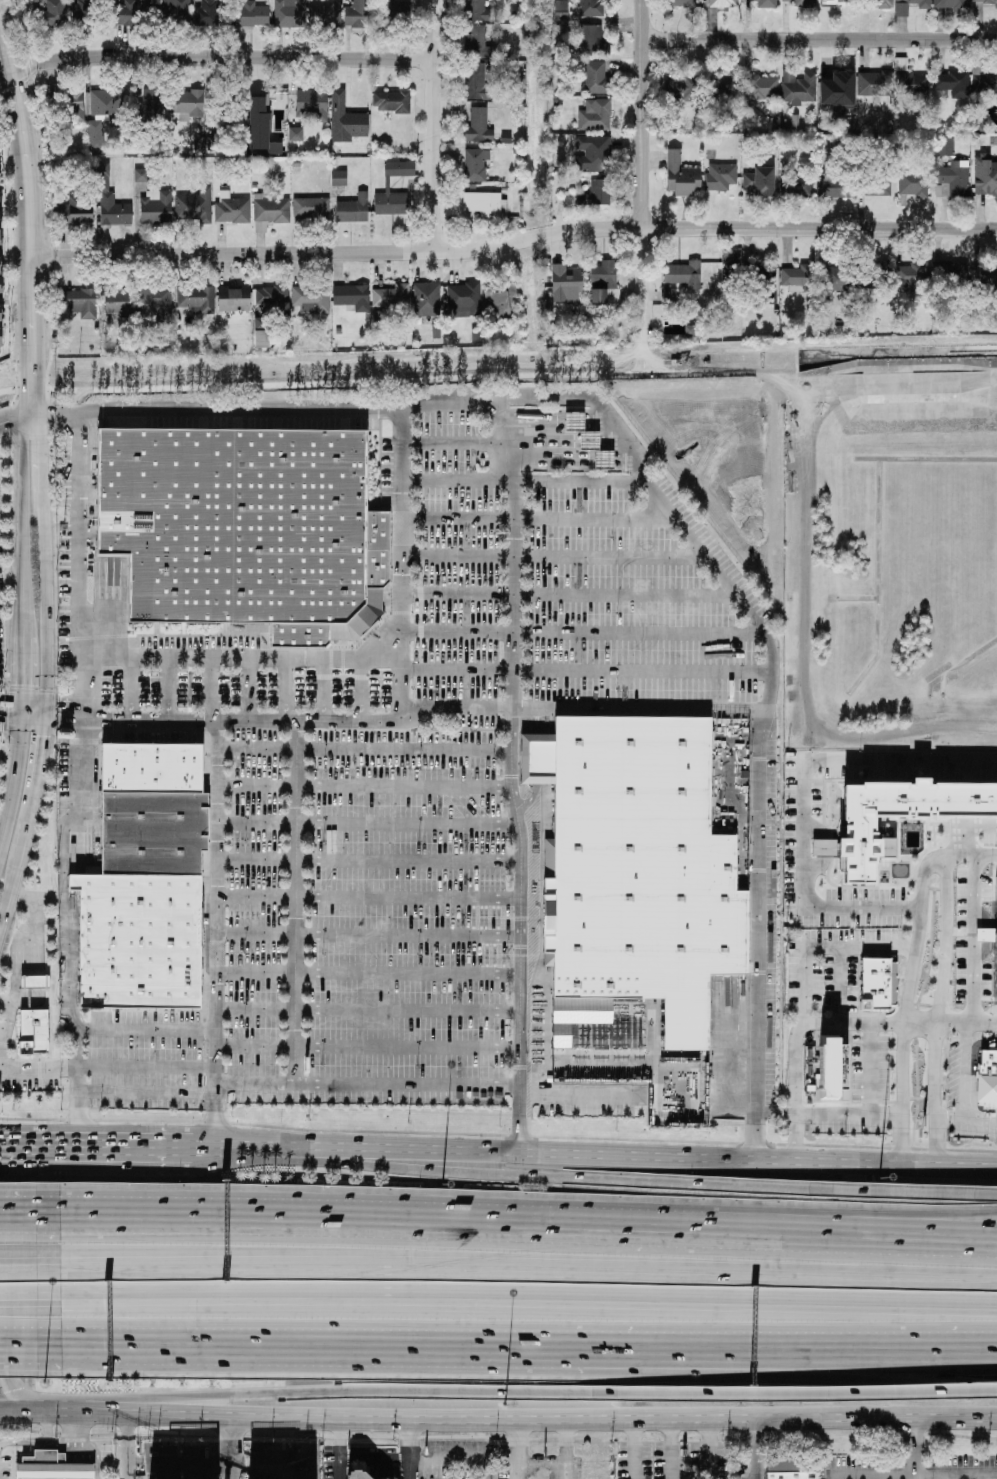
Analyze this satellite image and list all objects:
building: (30, 1)
building: (833, 1)
building: (984, 1)
building: (683, 3)
building: (798, 3)
building: (725, 4)
building: (765, 4)
building: (879, 4)
building: (949, 4)
building: (909, 5)
building: (590, 8)
building: (474, 10)
building: (561, 10)
building: (84, 11)
building: (175, 11)
building: (52, 13)
building: (133, 13)
building: (207, 13)
building: (285, 13)
building: (391, 13)
building: (251, 14)
building: (327, 14)
building: (356, 14)
road: (821, 39)
building: (591, 41)
building: (477, 42)
road: (215, 58)
building: (594, 77)
building: (908, 80)
building: (983, 80)
building: (475, 81)
building: (874, 83)
building: (835, 84)
building: (951, 84)
building: (761, 87)
building: (798, 87)
building: (681, 88)
building: (723, 89)
building: (105, 102)
building: (392, 102)
building: (151, 103)
building: (185, 104)
building: (268, 105)
building: (311, 106)
building: (74, 107)
building: (595, 116)
building: (345, 117)
road: (434, 126)
building: (477, 126)
building: (260, 129)
building: (295, 135)
building: (96, 136)
building: (198, 144)
building: (945, 147)
building: (592, 153)
building: (474, 165)
building: (399, 169)
road: (644, 170)
building: (681, 176)
building: (141, 177)
building: (720, 177)
building: (985, 177)
building: (338, 178)
building: (952, 179)
building: (759, 181)
building: (104, 184)
building: (877, 184)
building: (836, 185)
building: (913, 185)
building: (796, 186)
building: (595, 193)
road: (27, 197)
building: (388, 203)
building: (484, 204)
building: (155, 207)
building: (194, 207)
building: (230, 208)
building: (311, 208)
building: (353, 209)
building: (270, 213)
building: (74, 214)
road: (515, 244)
building: (952, 271)
building: (682, 274)
building: (719, 275)
building: (984, 275)
building: (758, 276)
building: (798, 276)
building: (875, 276)
building: (909, 278)
building: (836, 279)
building: (564, 282)
building: (604, 283)
building: (0, 287)
building: (668, 295)
building: (352, 297)
building: (391, 297)
building: (233, 299)
building: (311, 299)
building: (426, 299)
building: (463, 299)
building: (196, 300)
building: (272, 300)
building: (117, 302)
building: (80, 303)
building: (156, 303)
building: (500, 305)
building: (261, 339)
road: (36, 378)
road: (275, 410)
road: (18, 423)
building: (589, 441)
road: (457, 443)
road: (457, 481)
road: (582, 481)
road: (542, 519)
building: (244, 534)
road: (39, 555)
road: (556, 556)
road: (403, 561)
road: (78, 564)
road: (571, 595)
parking lot: (1, 627)
road: (584, 633)
road: (243, 658)
road: (588, 671)
road: (130, 685)
road: (171, 686)
road: (213, 686)
road: (249, 686)
road: (286, 687)
road: (323, 688)
road: (361, 688)
road: (637, 704)
road: (17, 708)
road: (762, 712)
road: (273, 715)
road: (359, 749)
road: (37, 760)
building: (153, 768)
road: (510, 773)
road: (14, 774)
road: (363, 786)
road: (803, 801)
building: (897, 818)
road: (365, 822)
parking lot: (373, 822)
road: (964, 833)
building: (153, 835)
road: (367, 861)
road: (971, 861)
building: (640, 864)
road: (937, 867)
road: (17, 874)
building: (982, 889)
building: (996, 890)
road: (38, 896)
road: (366, 897)
road: (298, 900)
road: (63, 901)
road: (214, 931)
road: (365, 935)
building: (141, 942)
road: (971, 942)
road: (824, 944)
road: (366, 973)
building: (995, 973)
building: (878, 984)
road: (366, 1009)
building: (34, 1015)
road: (800, 1021)
road: (968, 1023)
road: (146, 1033)
road: (408, 1046)
road: (255, 1048)
road: (904, 1066)
road: (11, 1067)
road: (871, 1067)
road: (147, 1068)
road: (966, 1073)
building: (987, 1077)
road: (274, 1087)
road: (937, 1094)
road: (848, 1111)
road: (966, 1124)
road: (902, 1137)
road: (16, 1147)
road: (110, 1147)
road: (592, 1151)
road: (12, 1158)
road: (514, 1175)
road: (919, 1197)
road: (15, 1218)
road: (853, 1224)
road: (370, 1225)
road: (853, 1234)
road: (15, 1265)
road: (514, 1272)
road: (15, 1297)
road: (514, 1301)
road: (2, 1329)
road: (15, 1334)
road: (179, 1335)
road: (502, 1337)
road: (836, 1339)
road: (179, 1344)
road: (15, 1353)
road: (836, 1357)
road: (368, 1395)
road: (809, 1395)
road: (18, 1414)
road: (82, 1415)
road: (562, 1419)
road: (34, 1442)
road: (128, 1447)
road: (228, 1448)
road: (82, 1449)
road: (342, 1449)
road: (409, 1449)
road: (518, 1449)
road: (565, 1449)
road: (633, 1449)
road: (670, 1449)
road: (709, 1449)
road: (756, 1449)
road: (914, 1449)
road: (375, 1459)
road: (456, 1460)
road: (541, 1462)
road: (179, 1466)
building: (53, 1467)
building: (790, 1472)
building: (357, 1475)
road: (916, 1477)
road: (877, 1478)
road: (951, 1478)

